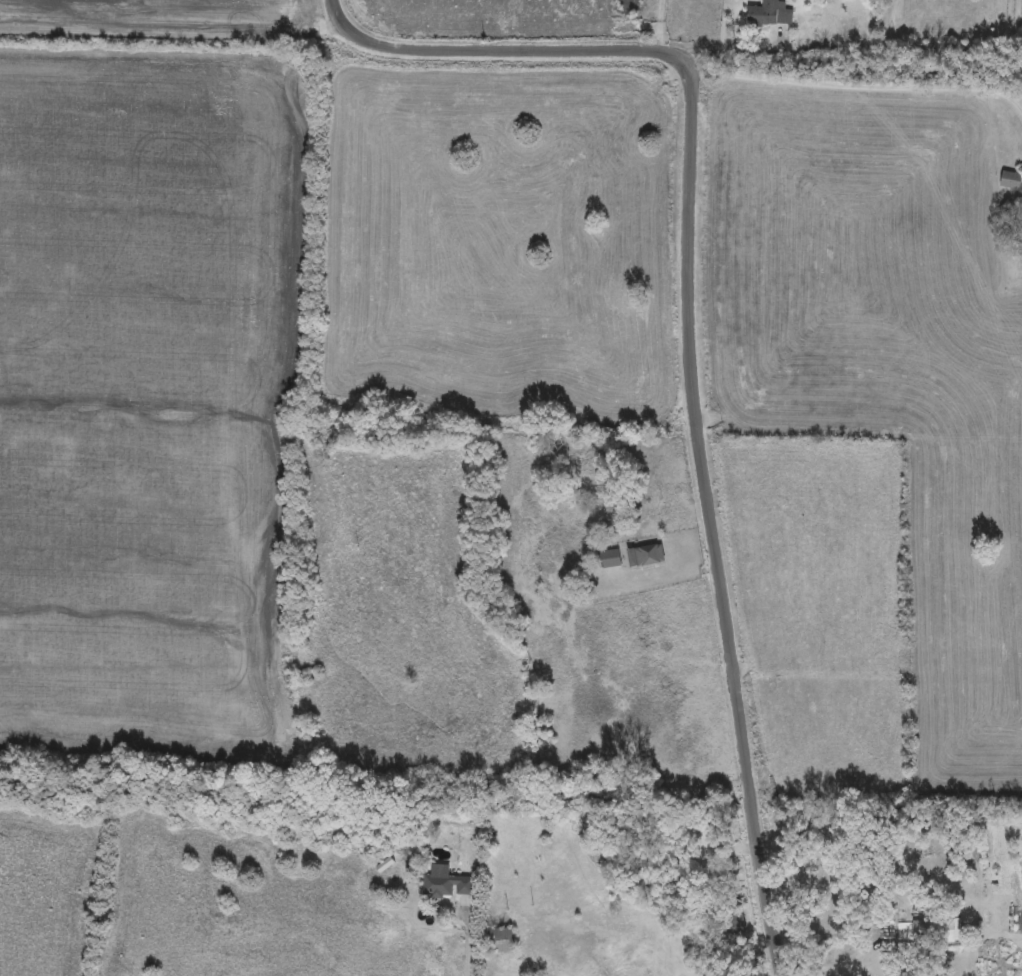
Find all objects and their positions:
building: (769, 13)
road: (853, 46)
road: (854, 85)
building: (1010, 180)
road: (689, 329)
building: (645, 556)
building: (610, 559)
building: (446, 886)
building: (938, 931)
building: (502, 941)
road: (472, 968)
road: (832, 968)

